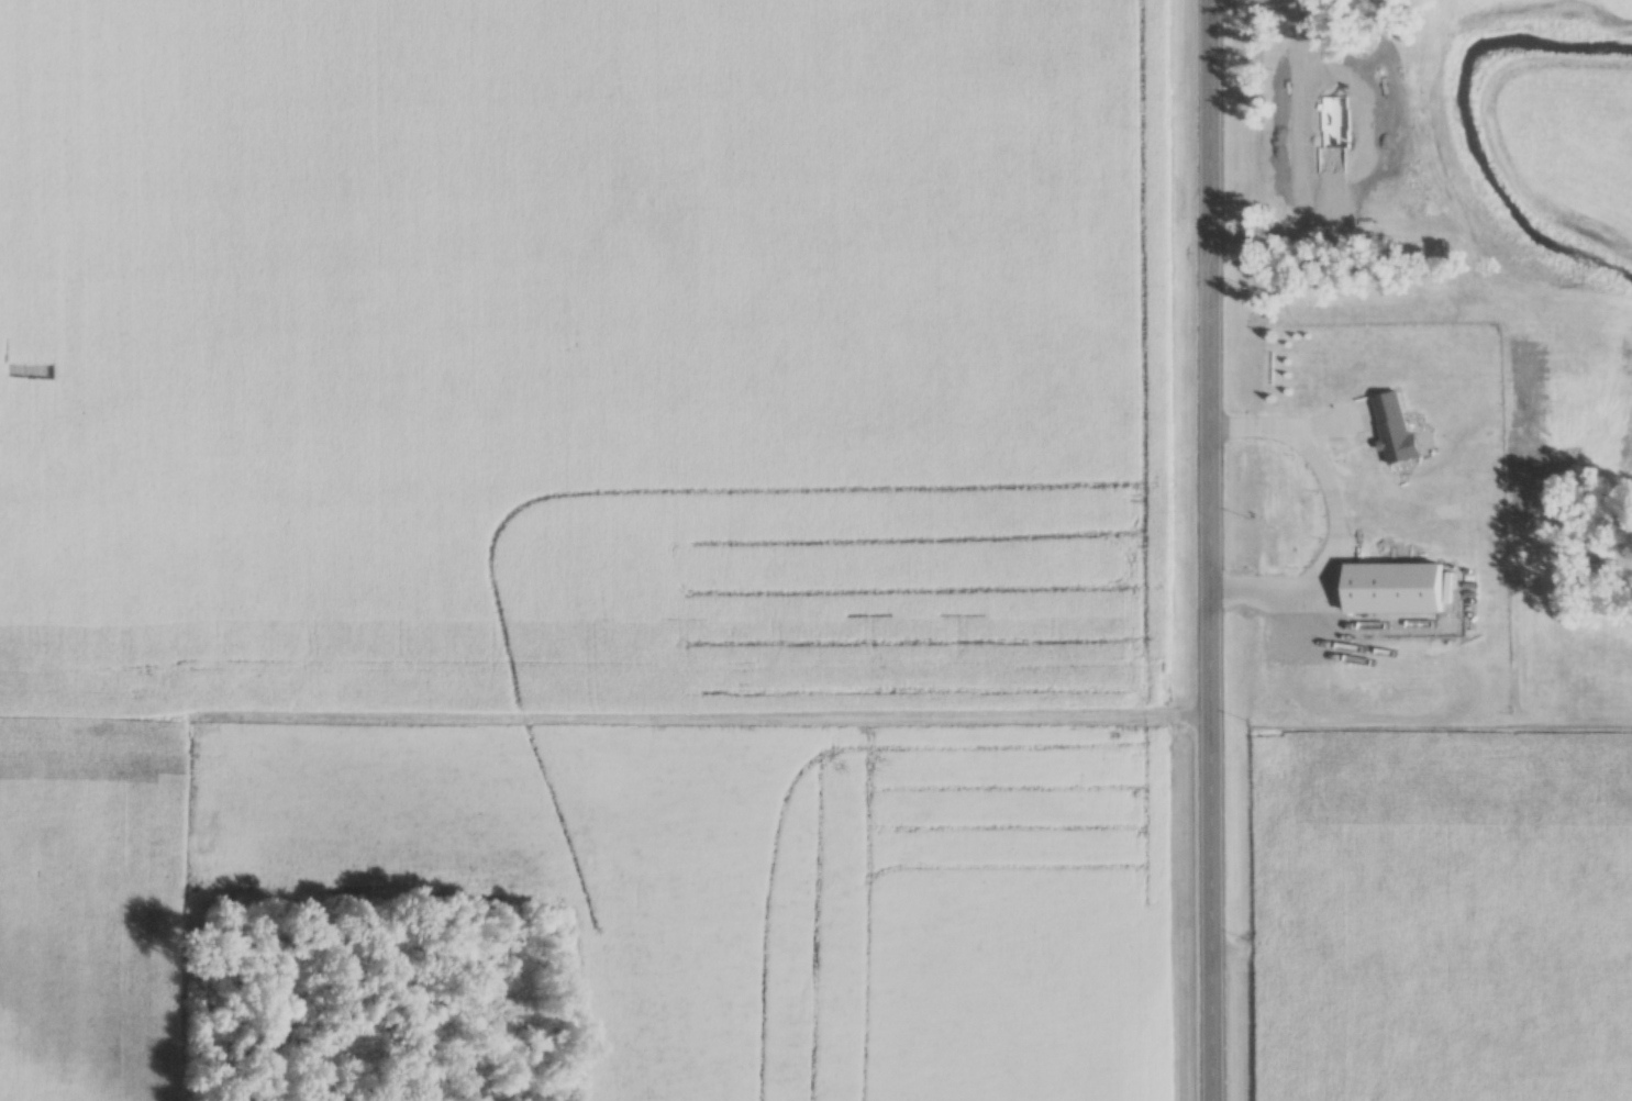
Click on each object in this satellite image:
road: (1333, 512)
road: (1208, 549)

